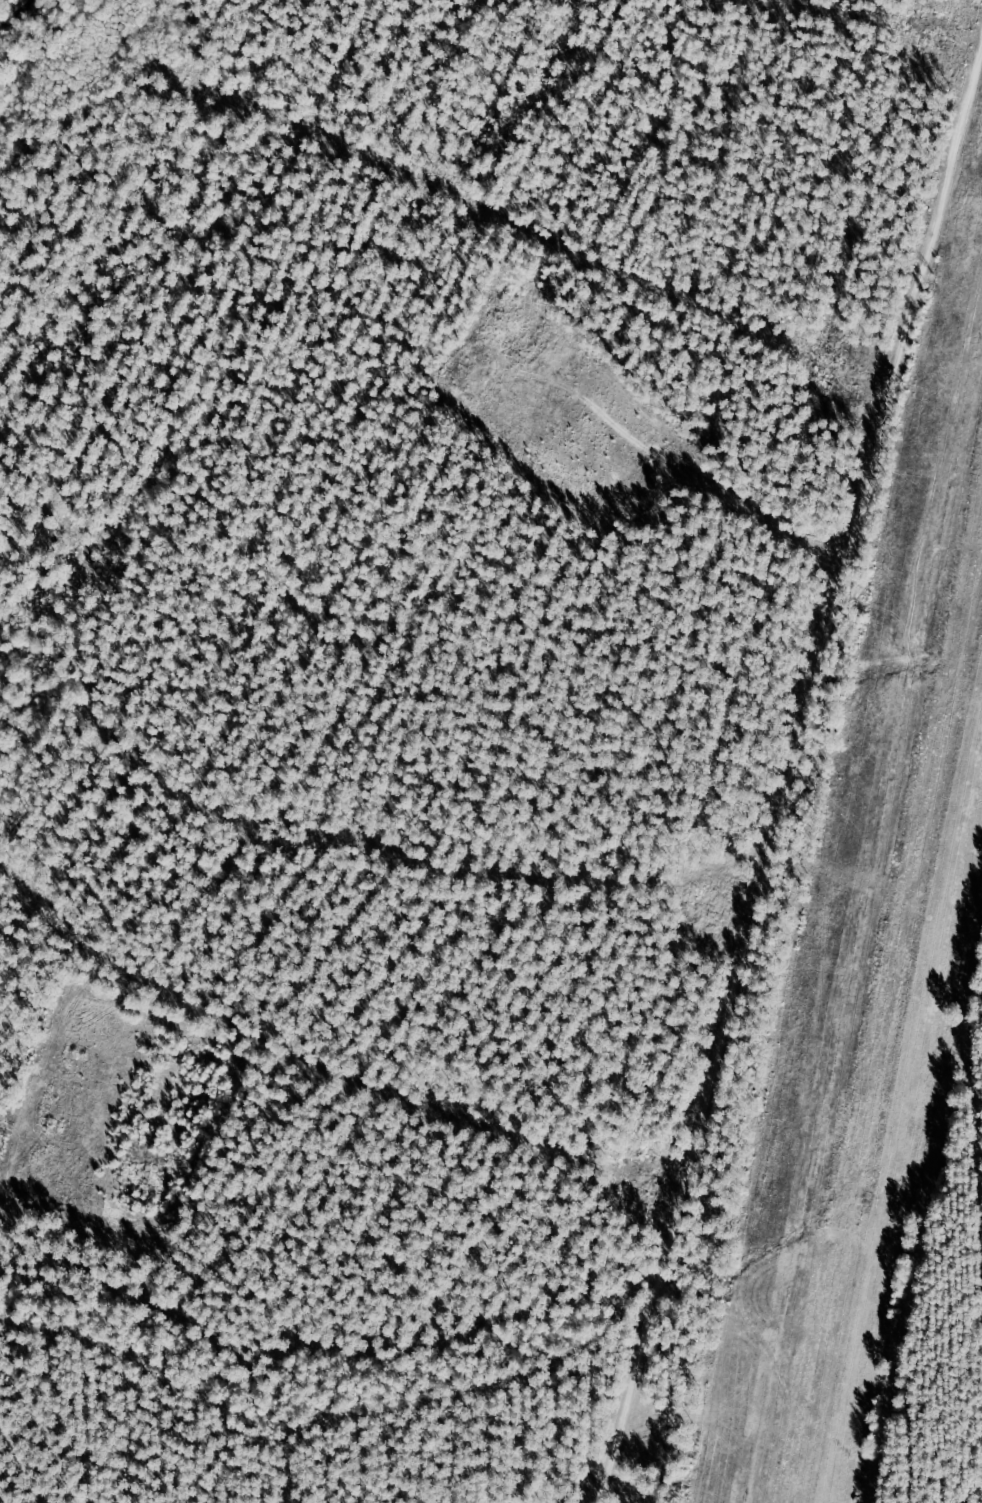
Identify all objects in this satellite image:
road: (829, 643)
road: (450, 1135)
road: (11, 1234)
road: (644, 1357)

